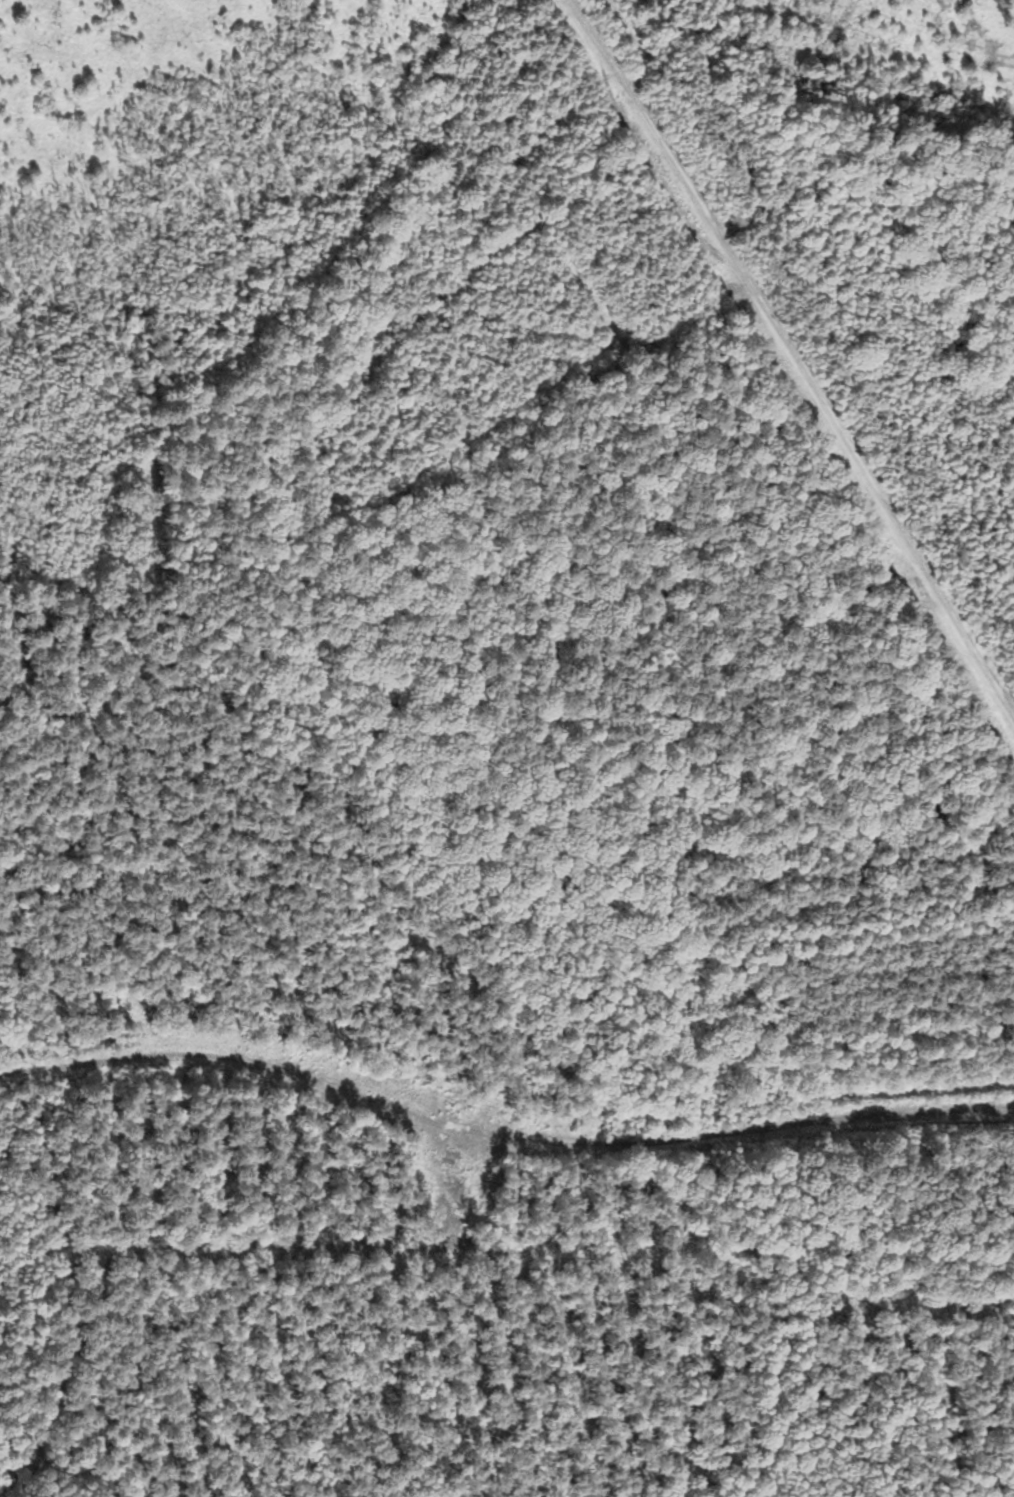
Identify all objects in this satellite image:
road: (792, 359)

